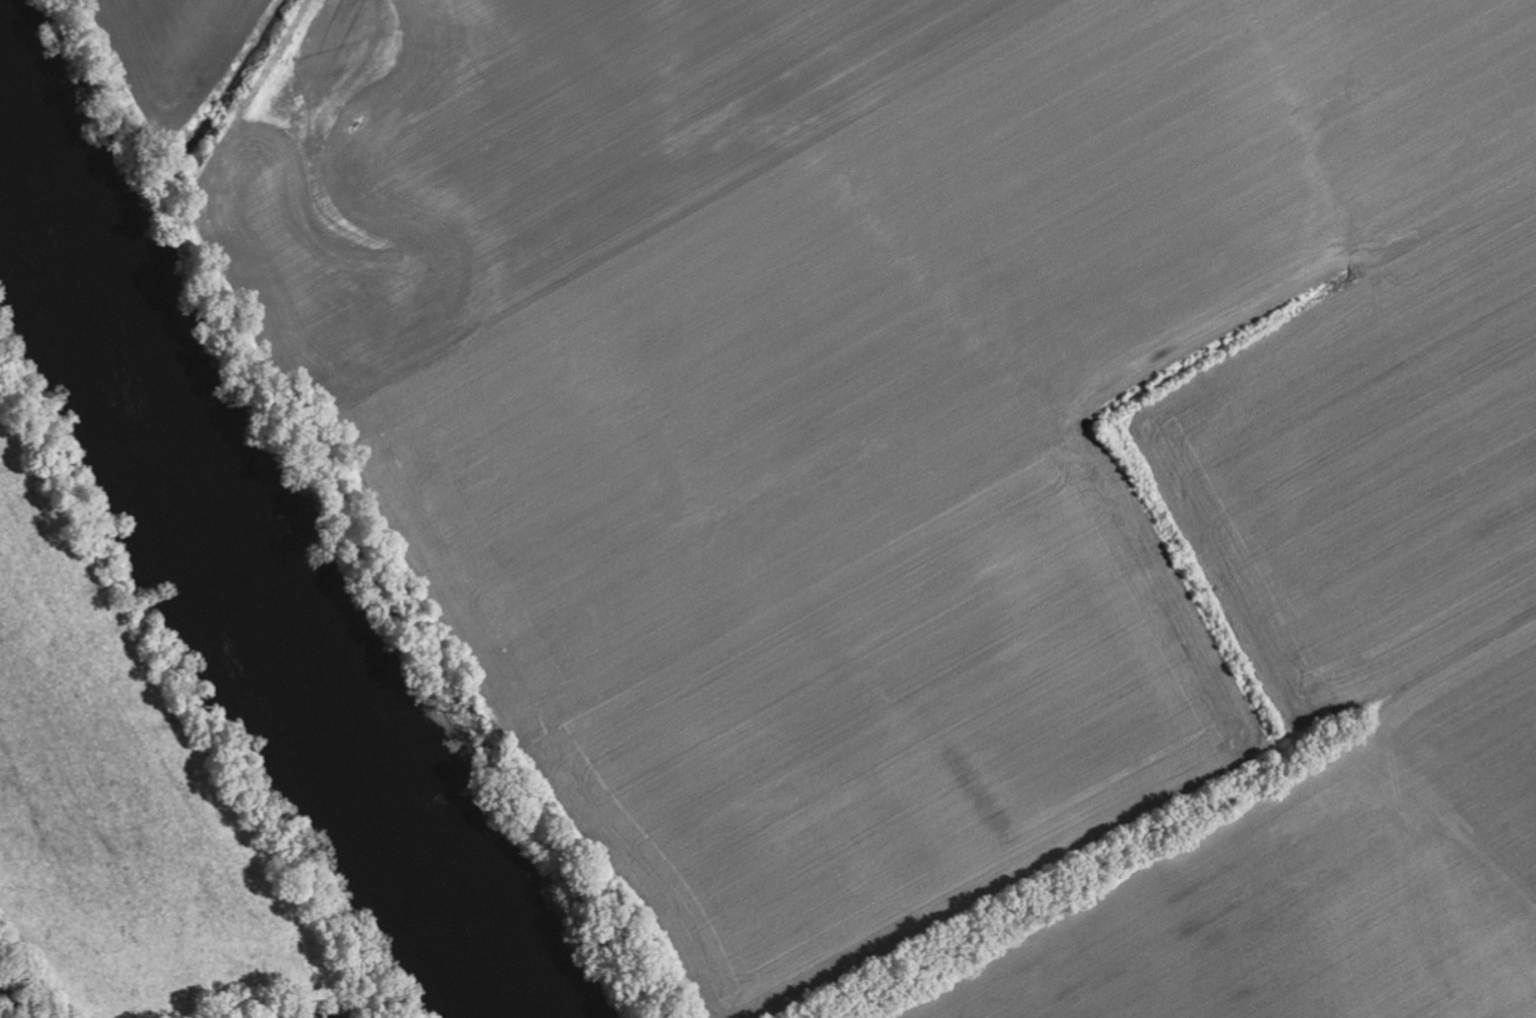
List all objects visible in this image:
river: (228, 580)

